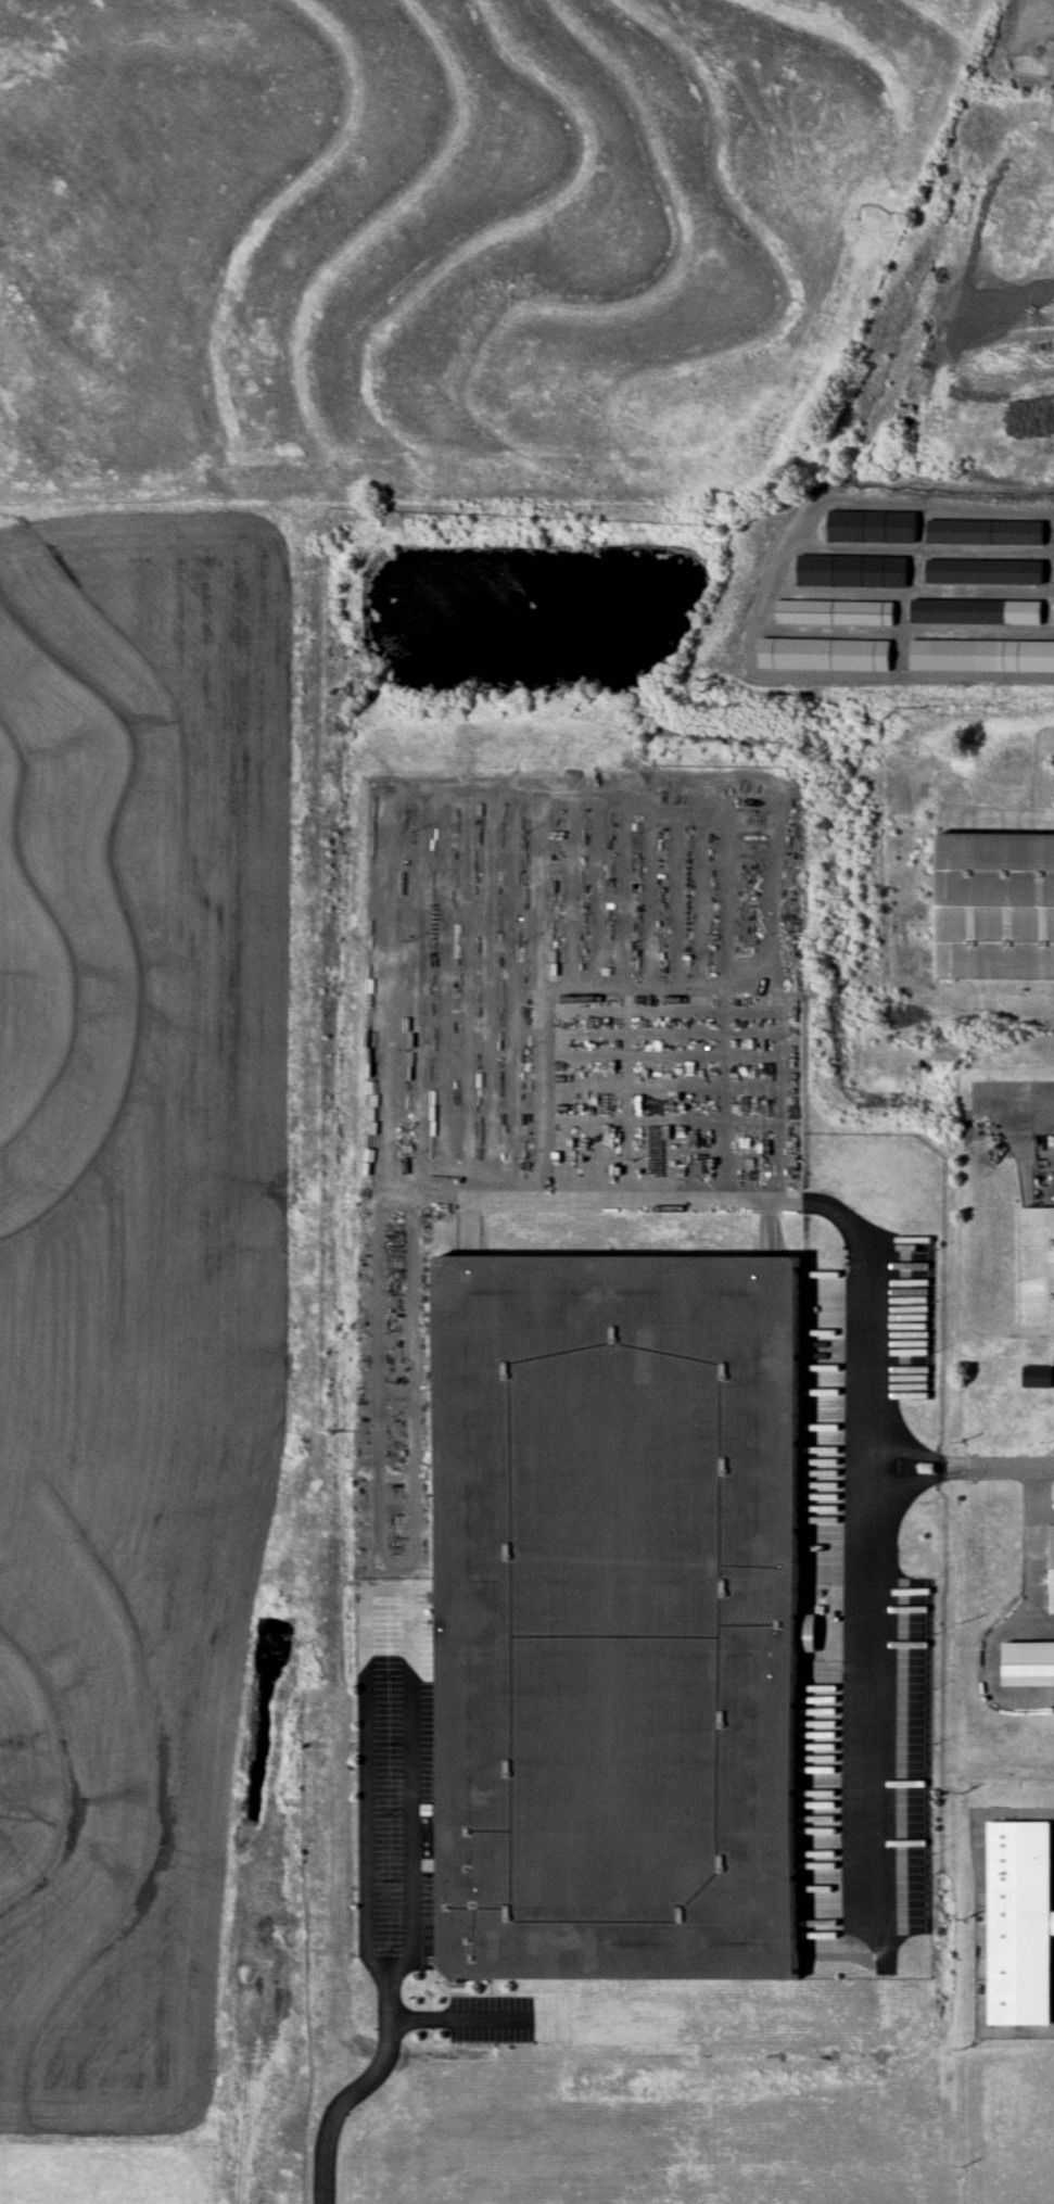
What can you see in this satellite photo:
building: (872, 527)
building: (983, 532)
building: (851, 571)
building: (983, 572)
building: (975, 612)
building: (834, 613)
building: (807, 655)
building: (994, 907)
building: (1037, 1264)
crop: (137, 1277)
building: (1037, 1377)
road: (1045, 1464)
road: (988, 1466)
road: (1044, 1513)
road: (1034, 1547)
building: (1053, 1568)
building: (618, 1618)
building: (1028, 1662)
road: (991, 1669)
building: (1019, 1922)
building: (549, 2022)

